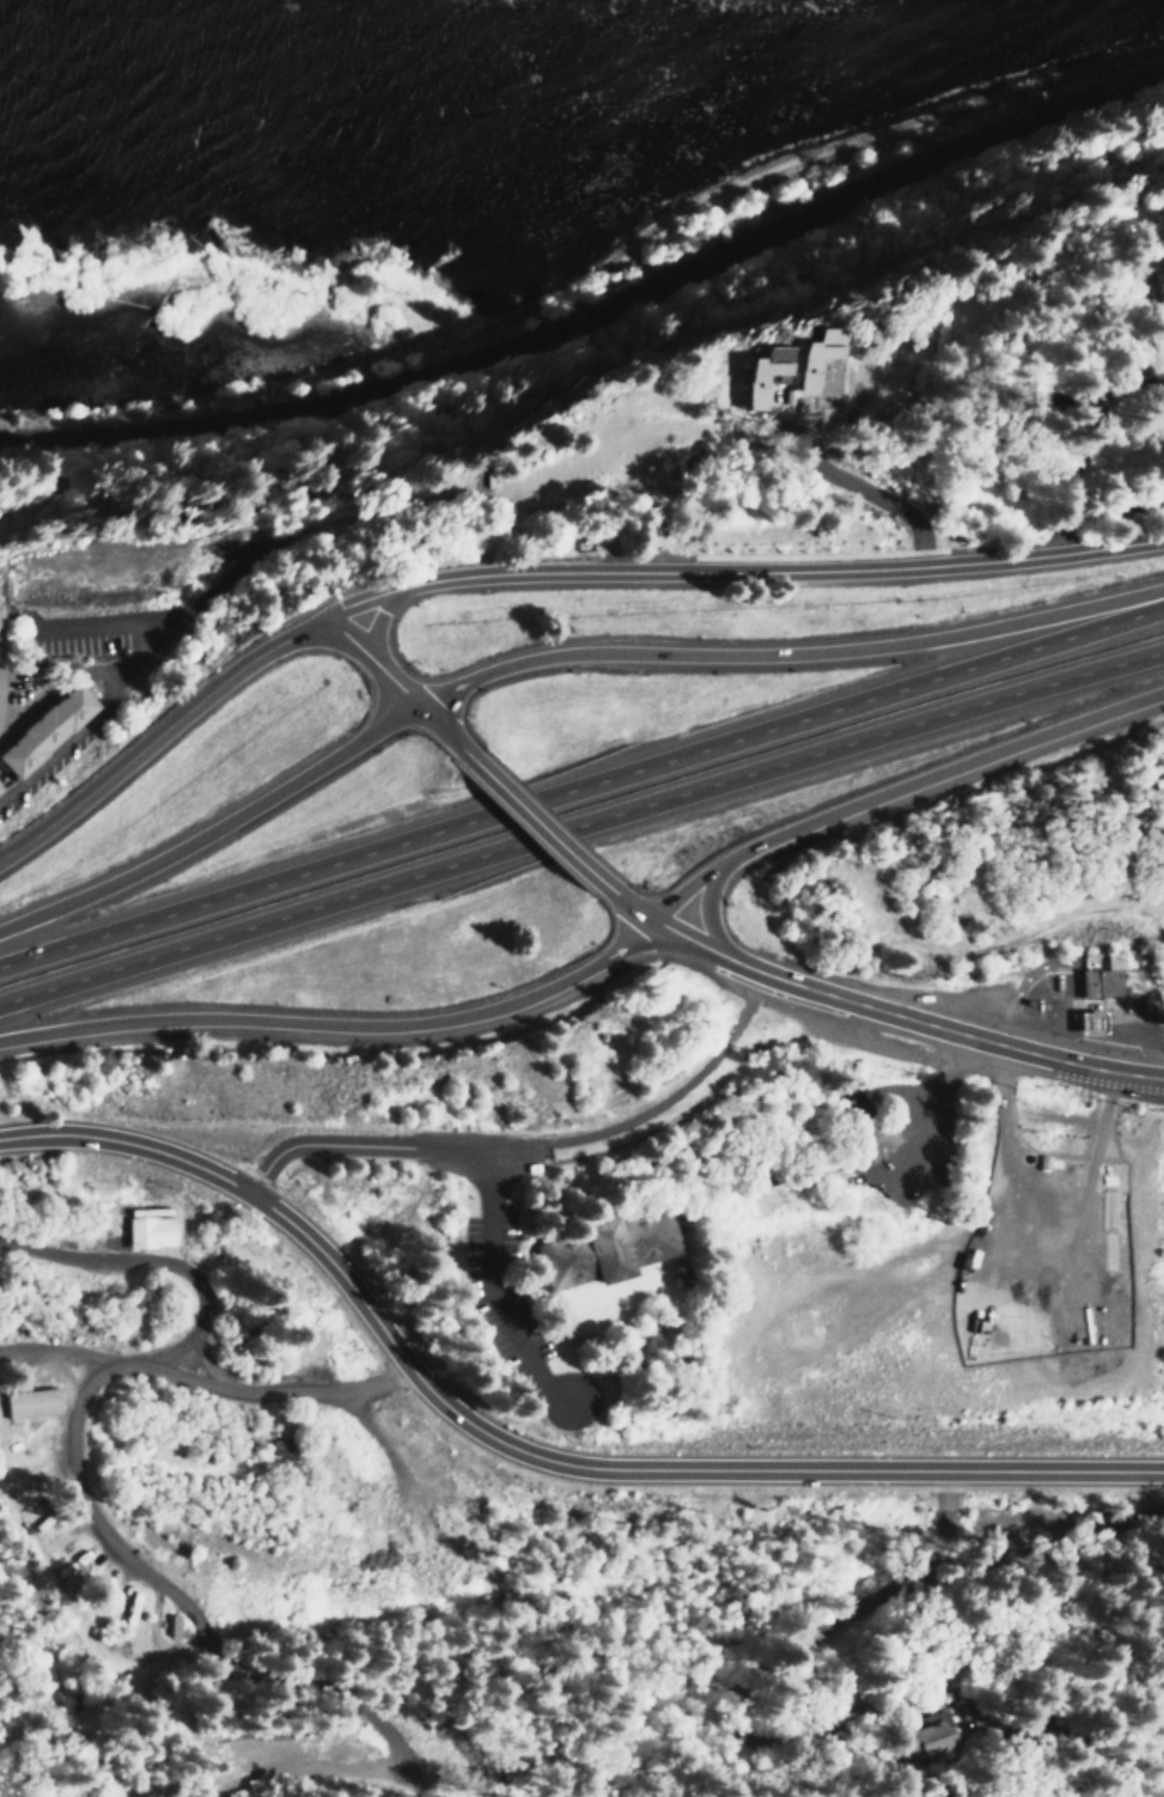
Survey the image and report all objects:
building: (1158, 285)
railway: (593, 307)
building: (811, 361)
building: (756, 372)
road: (867, 494)
road: (746, 569)
building: (2, 608)
road: (386, 617)
road: (791, 653)
road: (377, 656)
road: (441, 721)
road: (164, 729)
building: (50, 730)
road: (896, 784)
road: (581, 785)
building: (2, 790)
road: (535, 816)
road: (580, 821)
road: (217, 824)
road: (628, 902)
road: (705, 908)
road: (683, 937)
road: (741, 965)
building: (1109, 976)
building: (1090, 1019)
gas station: (1090, 1019)
road: (336, 1024)
road: (962, 1034)
road: (677, 1091)
road: (29, 1134)
building: (870, 1139)
road: (385, 1143)
road: (154, 1147)
building: (147, 1228)
building: (601, 1249)
road: (494, 1289)
road: (647, 1469)
road: (80, 1509)
building: (925, 1734)

